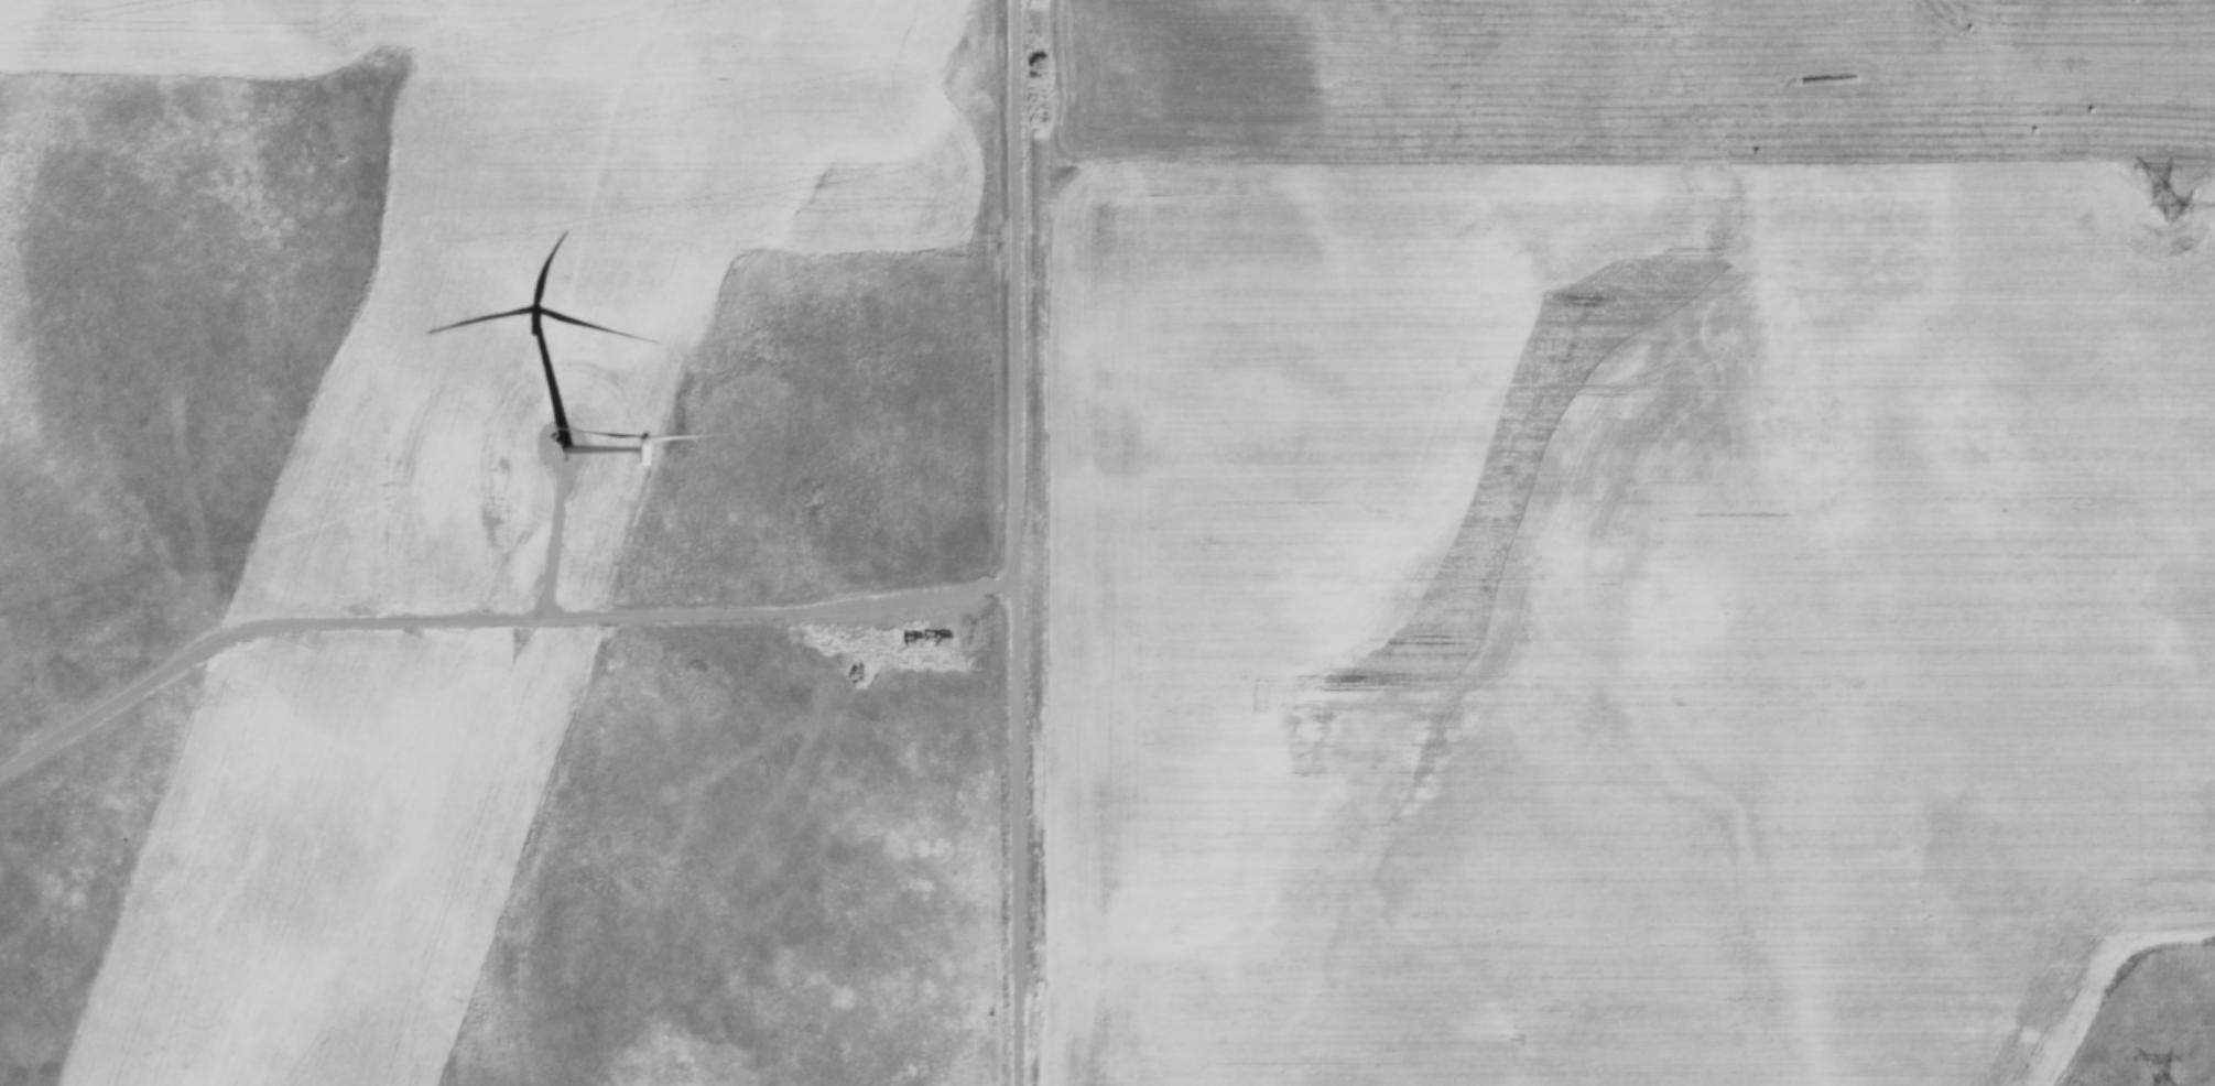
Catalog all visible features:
power tower: (2165, 200)
wind turbine: (565, 444)
road: (1018, 543)

